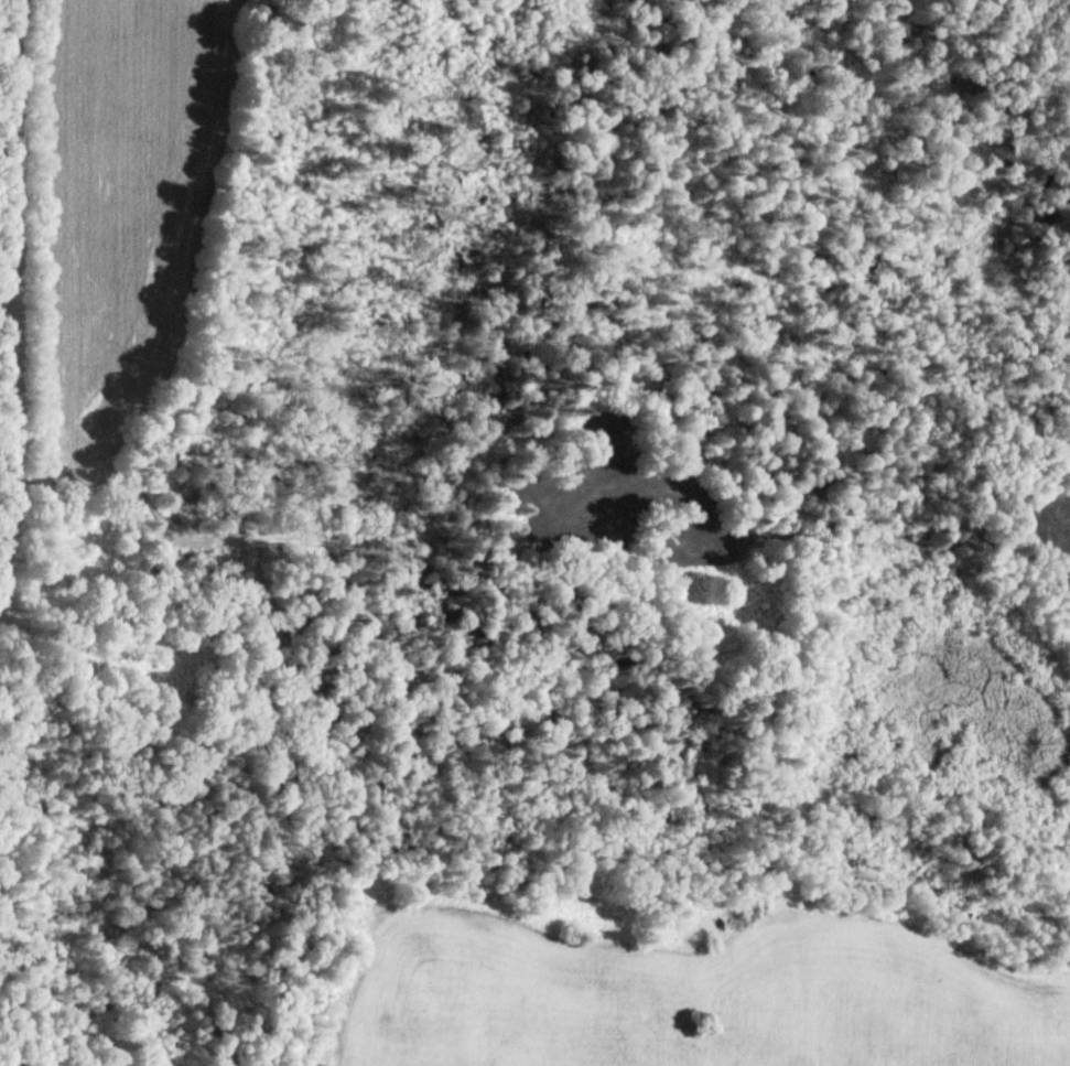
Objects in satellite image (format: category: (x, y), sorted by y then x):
road: (24, 305)

